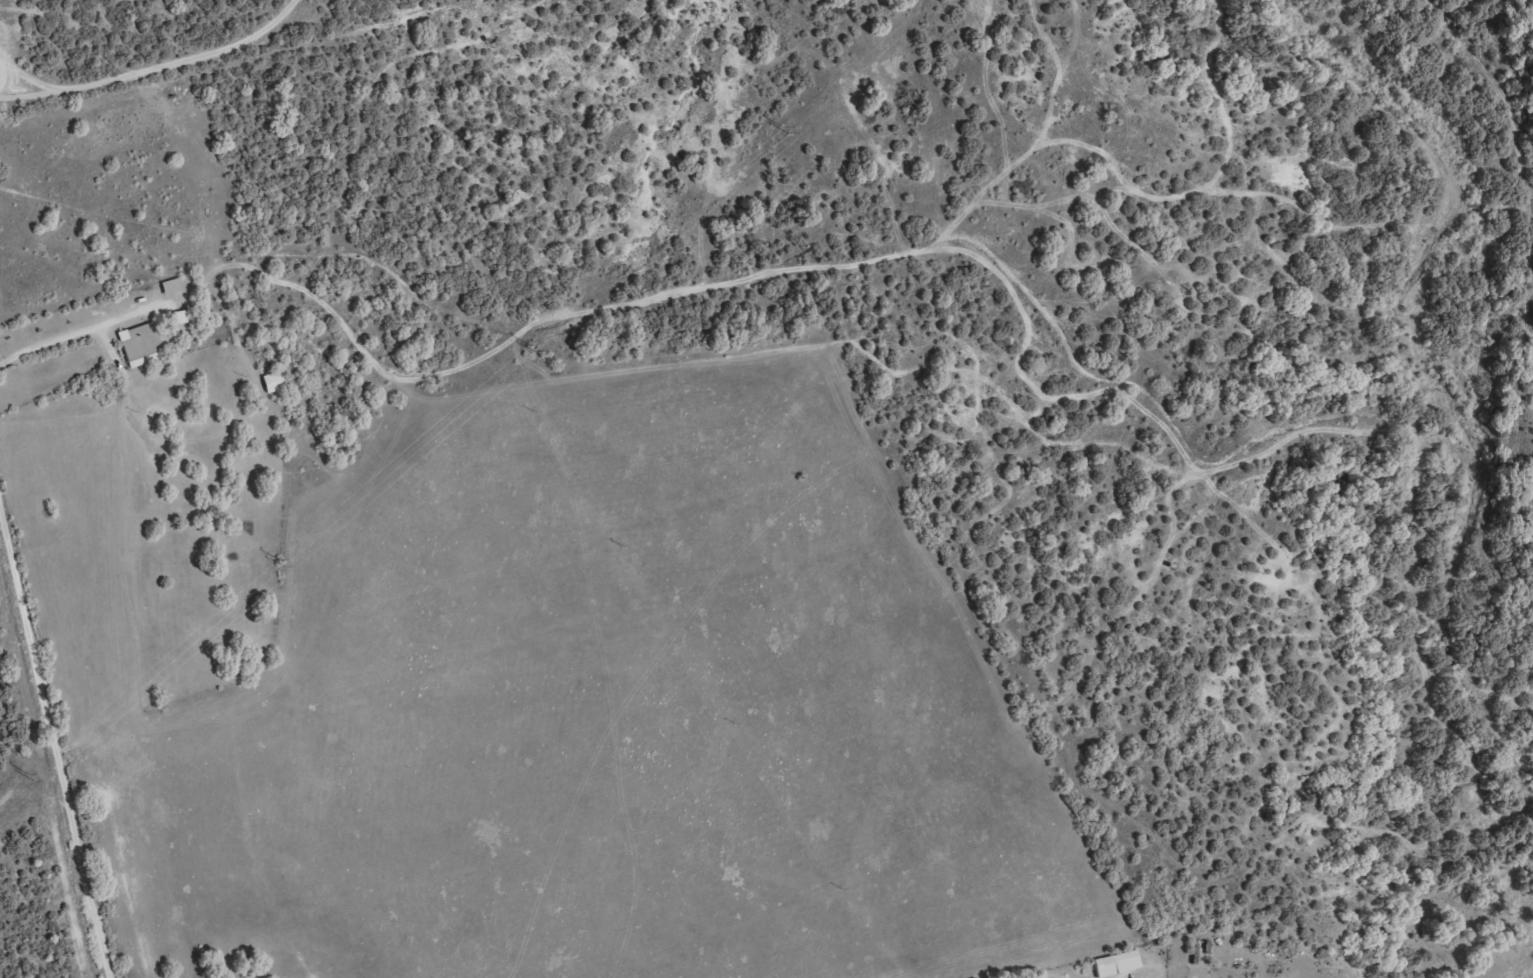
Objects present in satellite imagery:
power tower: (784, 129)
road: (72, 343)
power tower: (531, 348)
power tower: (283, 565)
road: (53, 755)
power tower: (30, 778)
building: (1117, 969)

